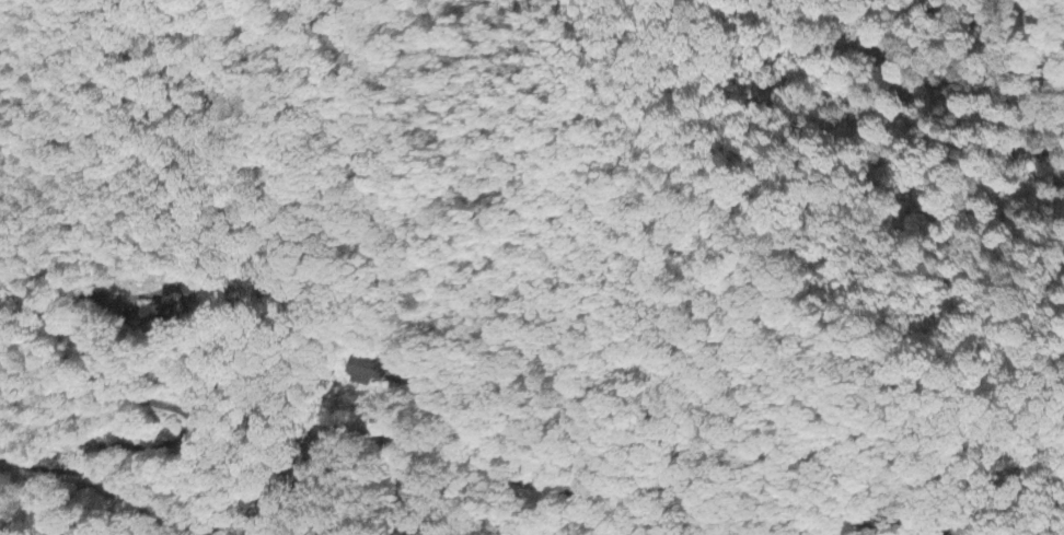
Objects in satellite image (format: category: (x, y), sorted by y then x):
road: (146, 398)
road: (546, 447)
road: (338, 493)
road: (175, 510)

